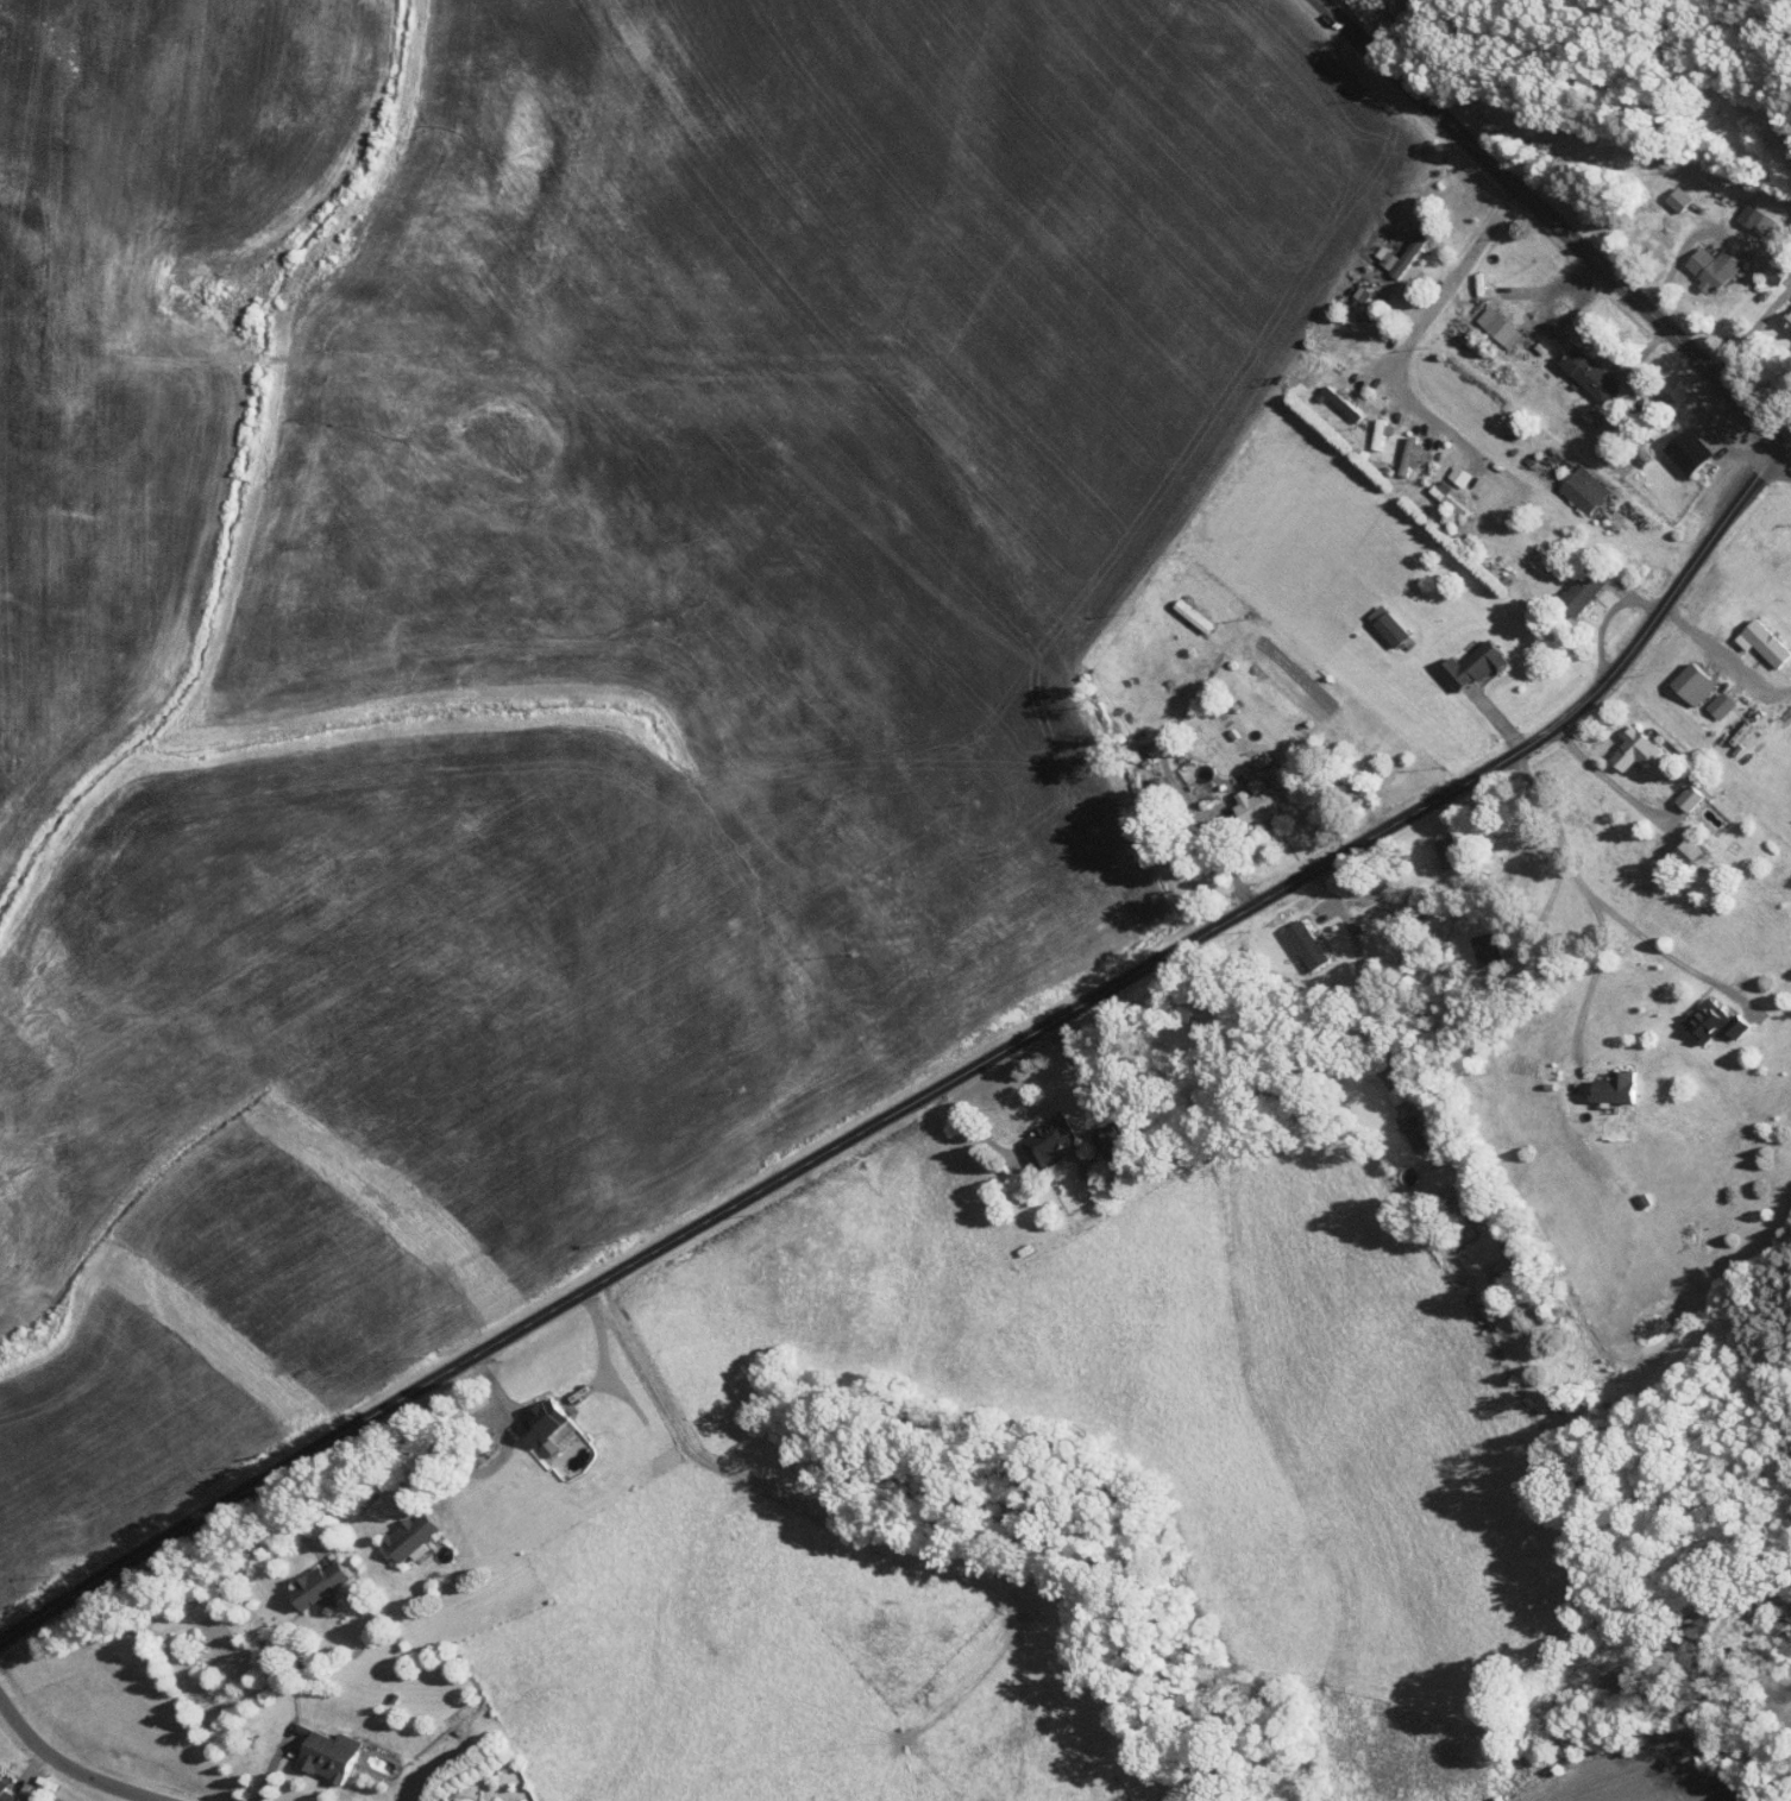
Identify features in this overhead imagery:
building: (1676, 199)
building: (1753, 220)
road: (1559, 225)
building: (1402, 254)
building: (1710, 269)
building: (1359, 294)
building: (1496, 327)
road: (1421, 332)
road: (1752, 332)
building: (1588, 374)
building: (1339, 403)
building: (1378, 433)
building: (1685, 452)
building: (1582, 490)
building: (1445, 503)
building: (1582, 587)
building: (1385, 624)
building: (1761, 642)
road: (1723, 656)
building: (1470, 665)
building: (1691, 682)
building: (1718, 705)
building: (1633, 748)
road: (1602, 776)
building: (1686, 796)
building: (1251, 801)
road: (1200, 821)
building: (1685, 851)
building: (1445, 852)
road: (1594, 896)
building: (1303, 944)
building: (1485, 949)
road: (1592, 982)
road: (1370, 985)
building: (1710, 1021)
building: (1613, 1087)
road: (930, 1089)
road: (974, 1131)
building: (1413, 1132)
building: (1045, 1141)
building: (1107, 1141)
building: (1453, 1220)
building: (539, 1422)
building: (408, 1537)
building: (315, 1585)
building: (326, 1756)
road: (68, 1767)
building: (4, 1791)

